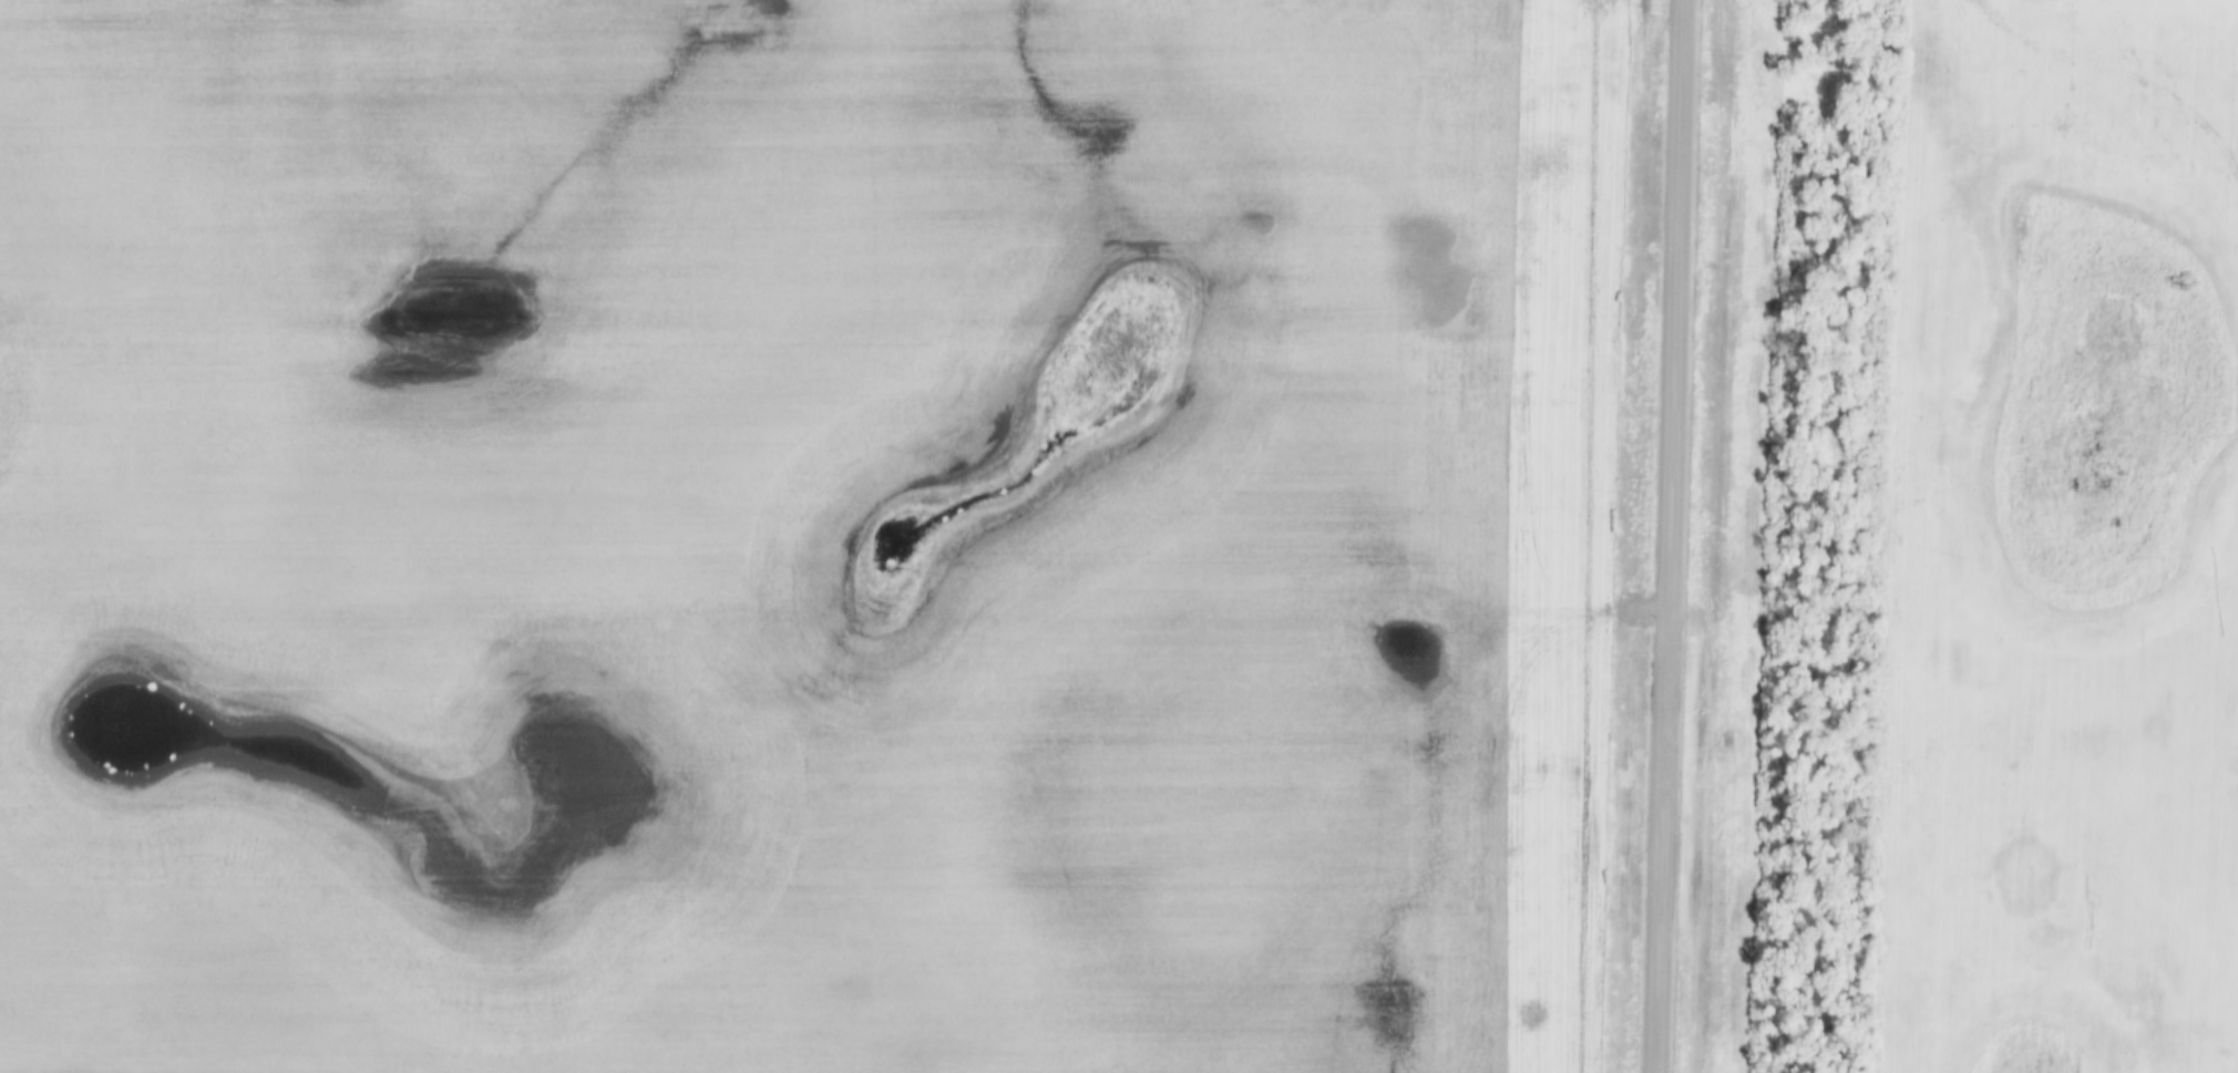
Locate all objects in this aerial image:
road: (1670, 536)

